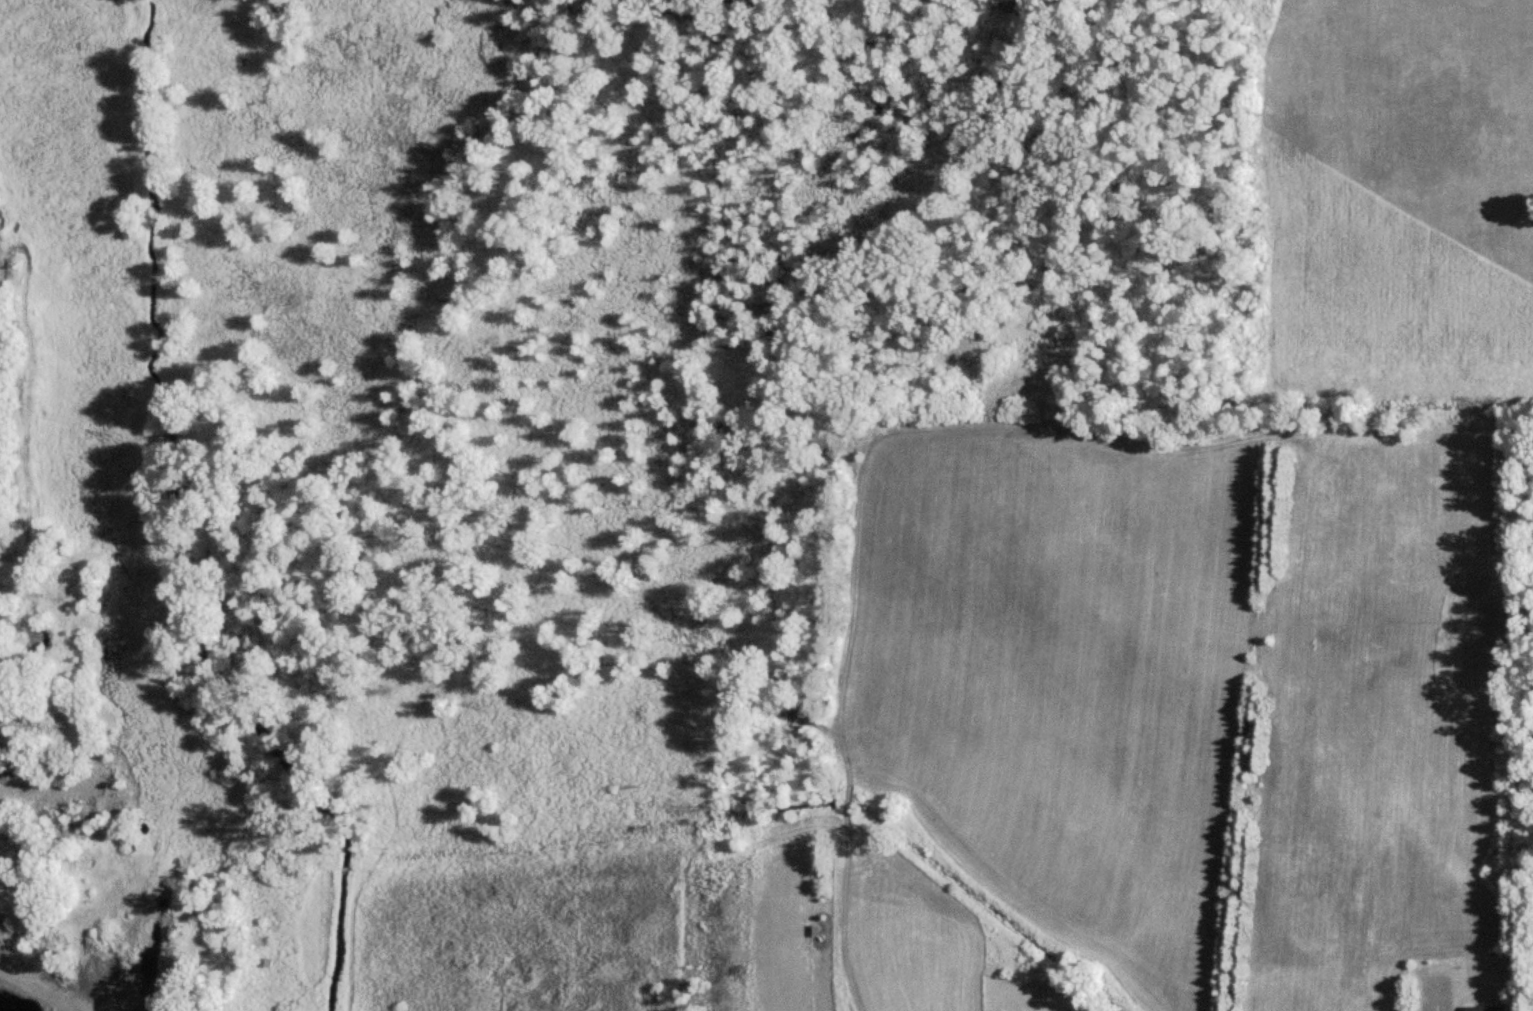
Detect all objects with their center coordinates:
crop: (1396, 201)
crop: (1053, 641)
crop: (1401, 698)
crop: (769, 929)
crop: (908, 960)
building: (1487, 1007)

